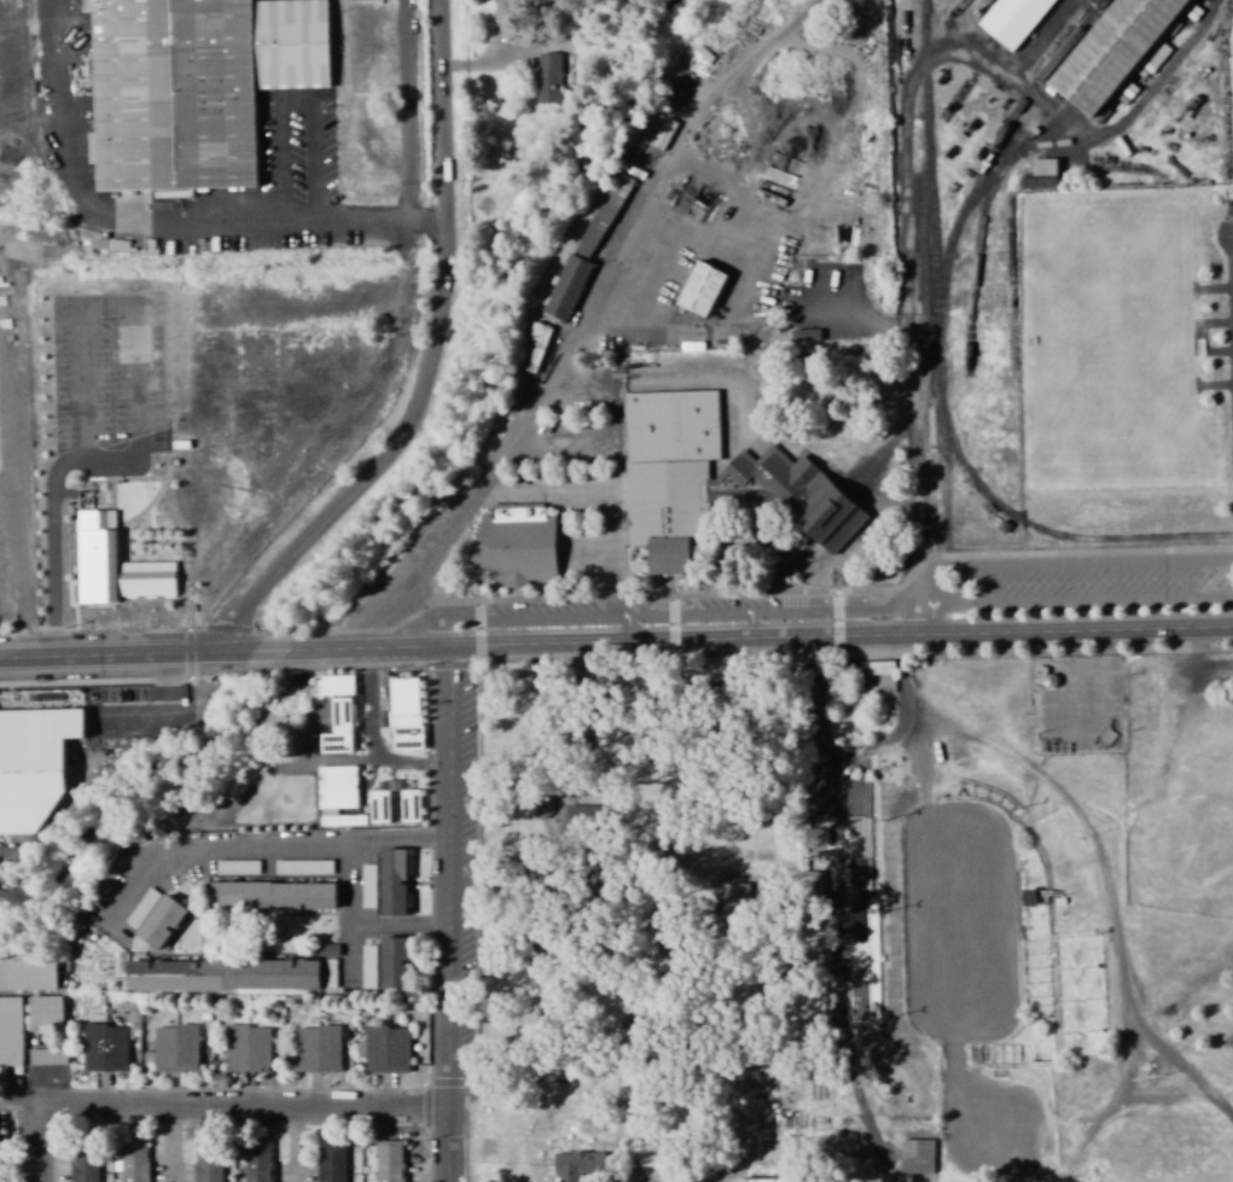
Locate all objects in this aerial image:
building: (1013, 19)
building: (1112, 52)
building: (547, 77)
building: (204, 87)
building: (1042, 171)
railway: (995, 187)
railway: (959, 208)
road: (1232, 239)
building: (587, 246)
building: (304, 281)
building: (700, 289)
road: (586, 318)
building: (805, 337)
park: (1109, 338)
building: (534, 347)
building: (263, 355)
road: (436, 366)
building: (122, 375)
railway: (938, 383)
building: (669, 471)
parking lot: (572, 473)
building: (518, 543)
building: (115, 565)
parking lot: (1083, 583)
parking lot: (715, 604)
parking lot: (541, 609)
road: (616, 644)
building: (335, 685)
building: (405, 714)
building: (339, 727)
building: (34, 762)
parking lot: (473, 782)
building: (337, 794)
building: (394, 804)
building: (584, 817)
road: (238, 849)
parking lot: (465, 858)
building: (303, 867)
building: (392, 881)
park: (665, 883)
building: (367, 886)
building: (272, 896)
road: (452, 914)
road: (355, 916)
building: (159, 922)
road: (403, 928)
building: (328, 950)
building: (394, 962)
building: (368, 967)
building: (27, 973)
building: (327, 973)
building: (222, 974)
park: (985, 982)
building: (43, 1013)
building: (10, 1031)
building: (104, 1048)
building: (175, 1048)
building: (248, 1048)
building: (318, 1049)
building: (386, 1049)
building: (47, 1056)
road: (25, 1104)
road: (214, 1106)
building: (655, 1155)
building: (917, 1155)
building: (134, 1160)
building: (331, 1160)
building: (208, 1161)
building: (386, 1161)
building: (257, 1163)
building: (577, 1165)
building: (0, 1166)
building: (83, 1166)
building: (766, 1181)

